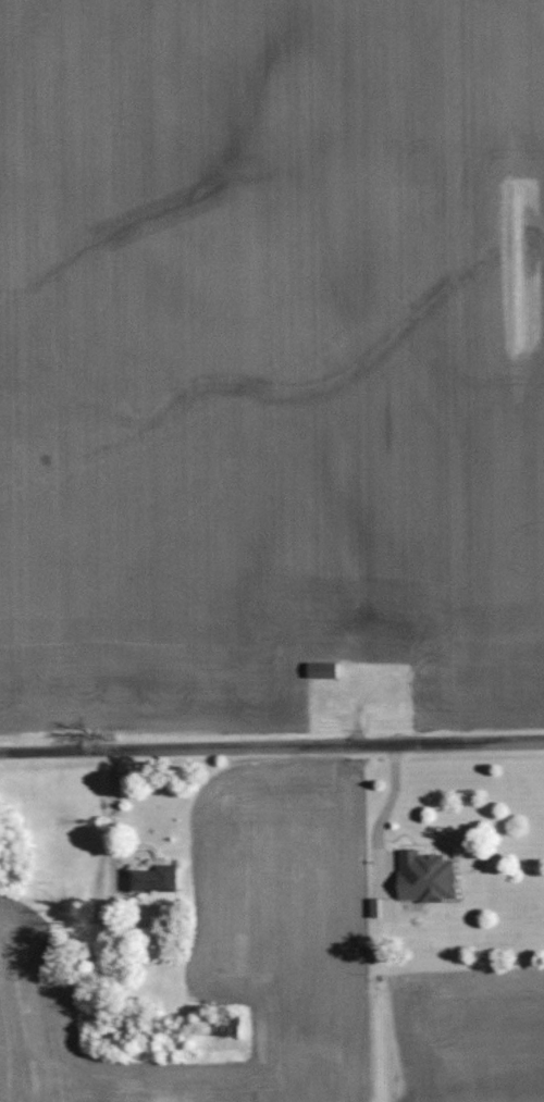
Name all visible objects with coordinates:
building: (320, 669)
road: (272, 744)
building: (423, 875)
building: (153, 880)

